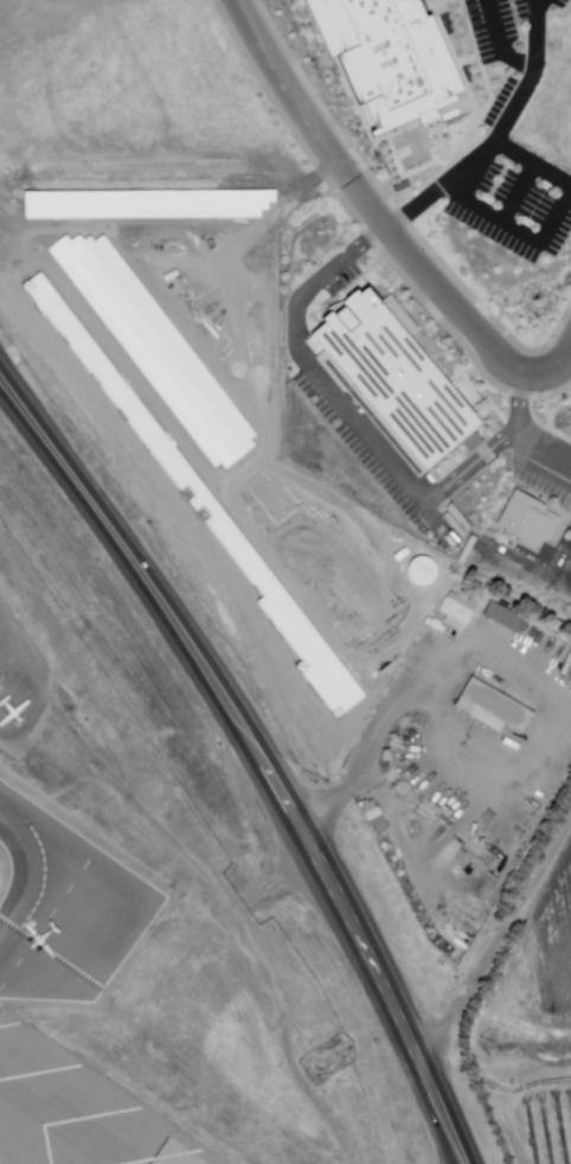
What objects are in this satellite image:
building: (251, 37)
road: (499, 40)
building: (391, 57)
road: (512, 100)
parking lot: (508, 141)
park: (411, 148)
road: (506, 197)
road: (416, 203)
road: (551, 211)
road: (377, 215)
road: (566, 362)
building: (397, 375)
parking lot: (317, 384)
parking lot: (547, 467)
building: (528, 518)
building: (458, 607)
road: (511, 665)
airport apron: (20, 680)
building: (493, 708)
road: (257, 754)
building: (374, 825)
building: (435, 834)
airport taxiway: (41, 877)
road: (275, 888)
road: (520, 910)
airport apron: (98, 917)
road: (232, 919)
airport: (137, 947)

